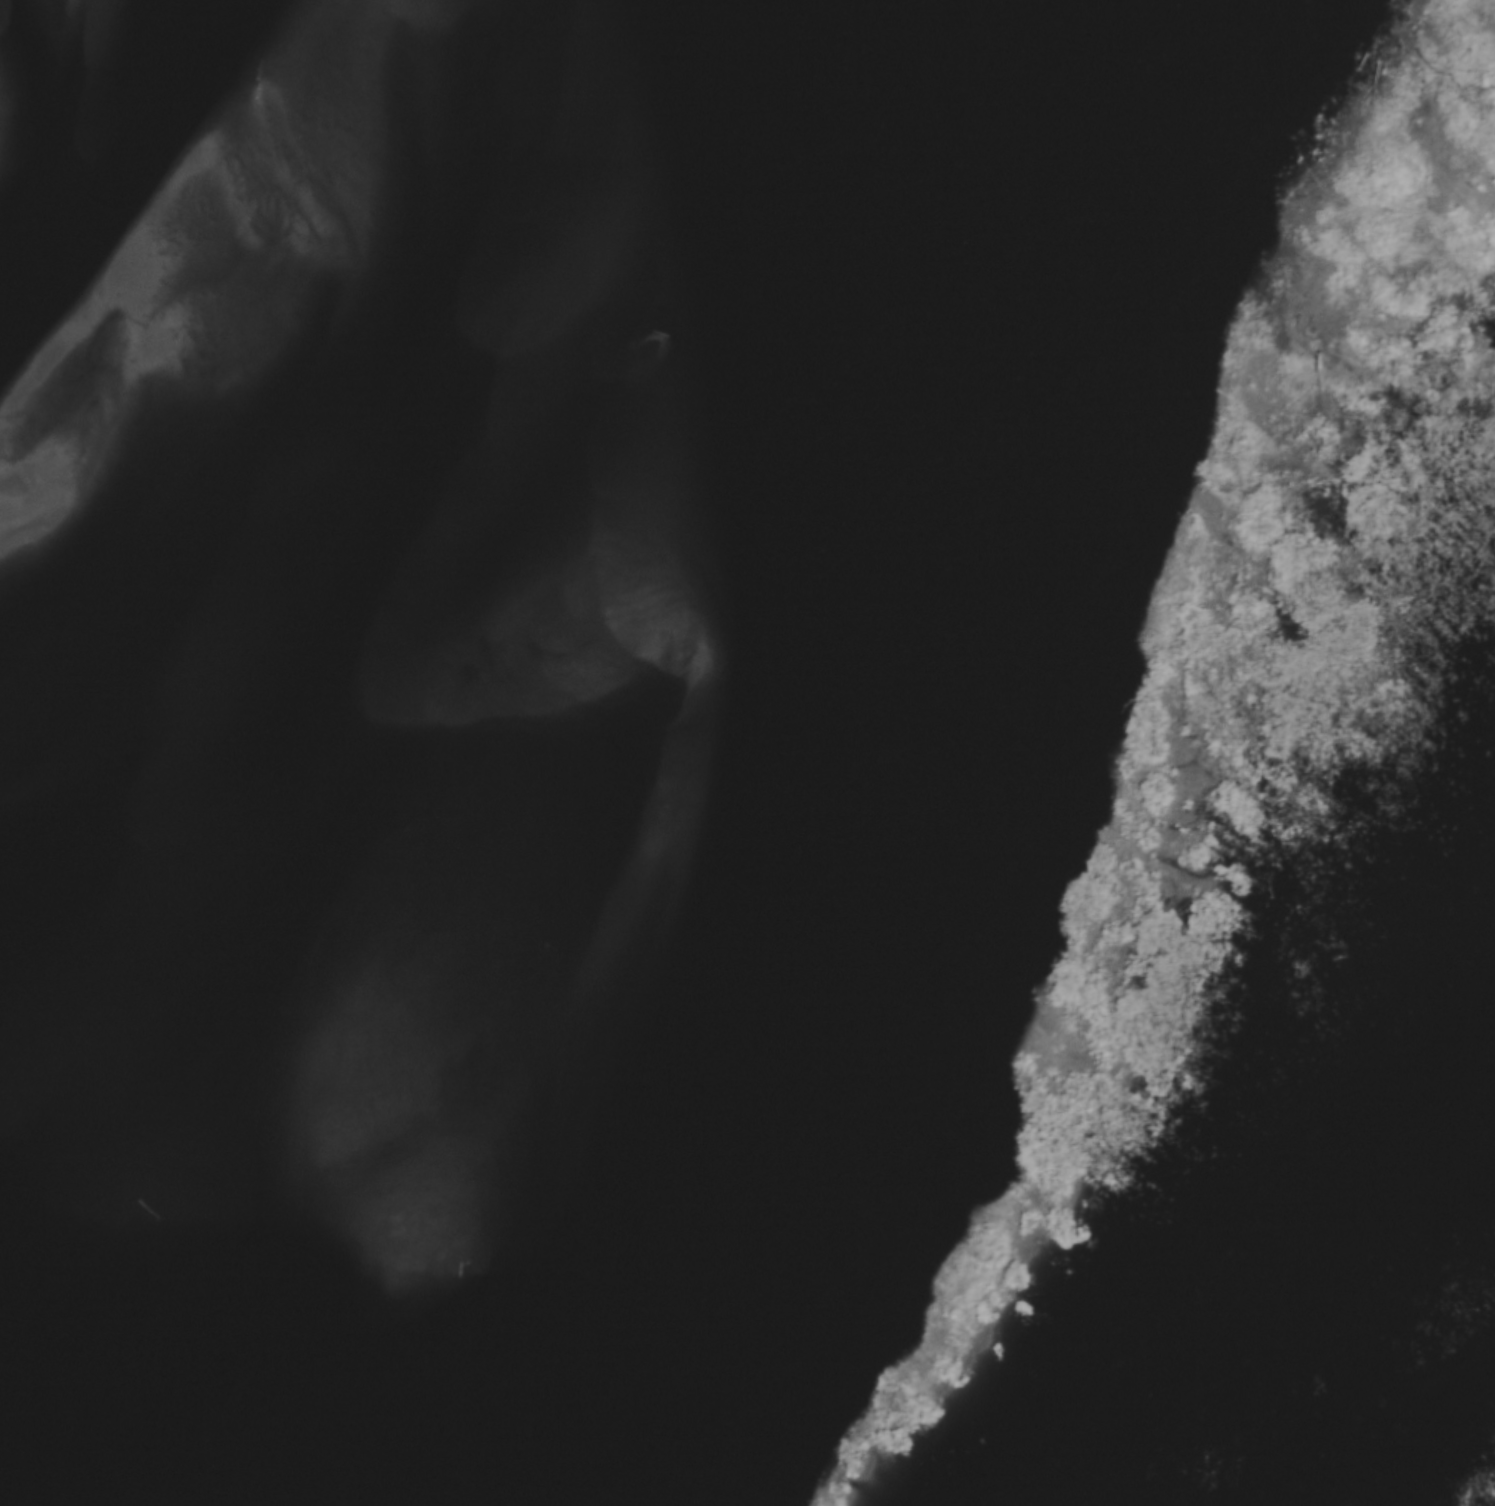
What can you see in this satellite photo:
river: (117, 285)

